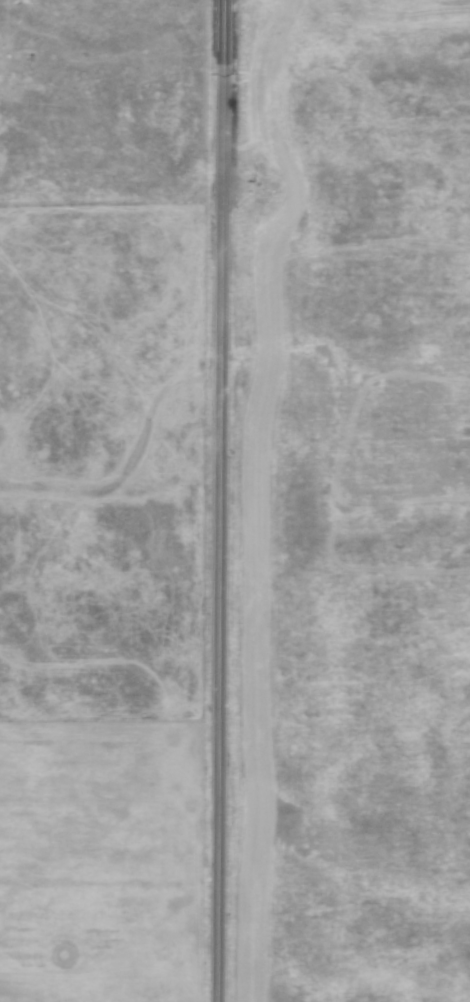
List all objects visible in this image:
road: (218, 501)

